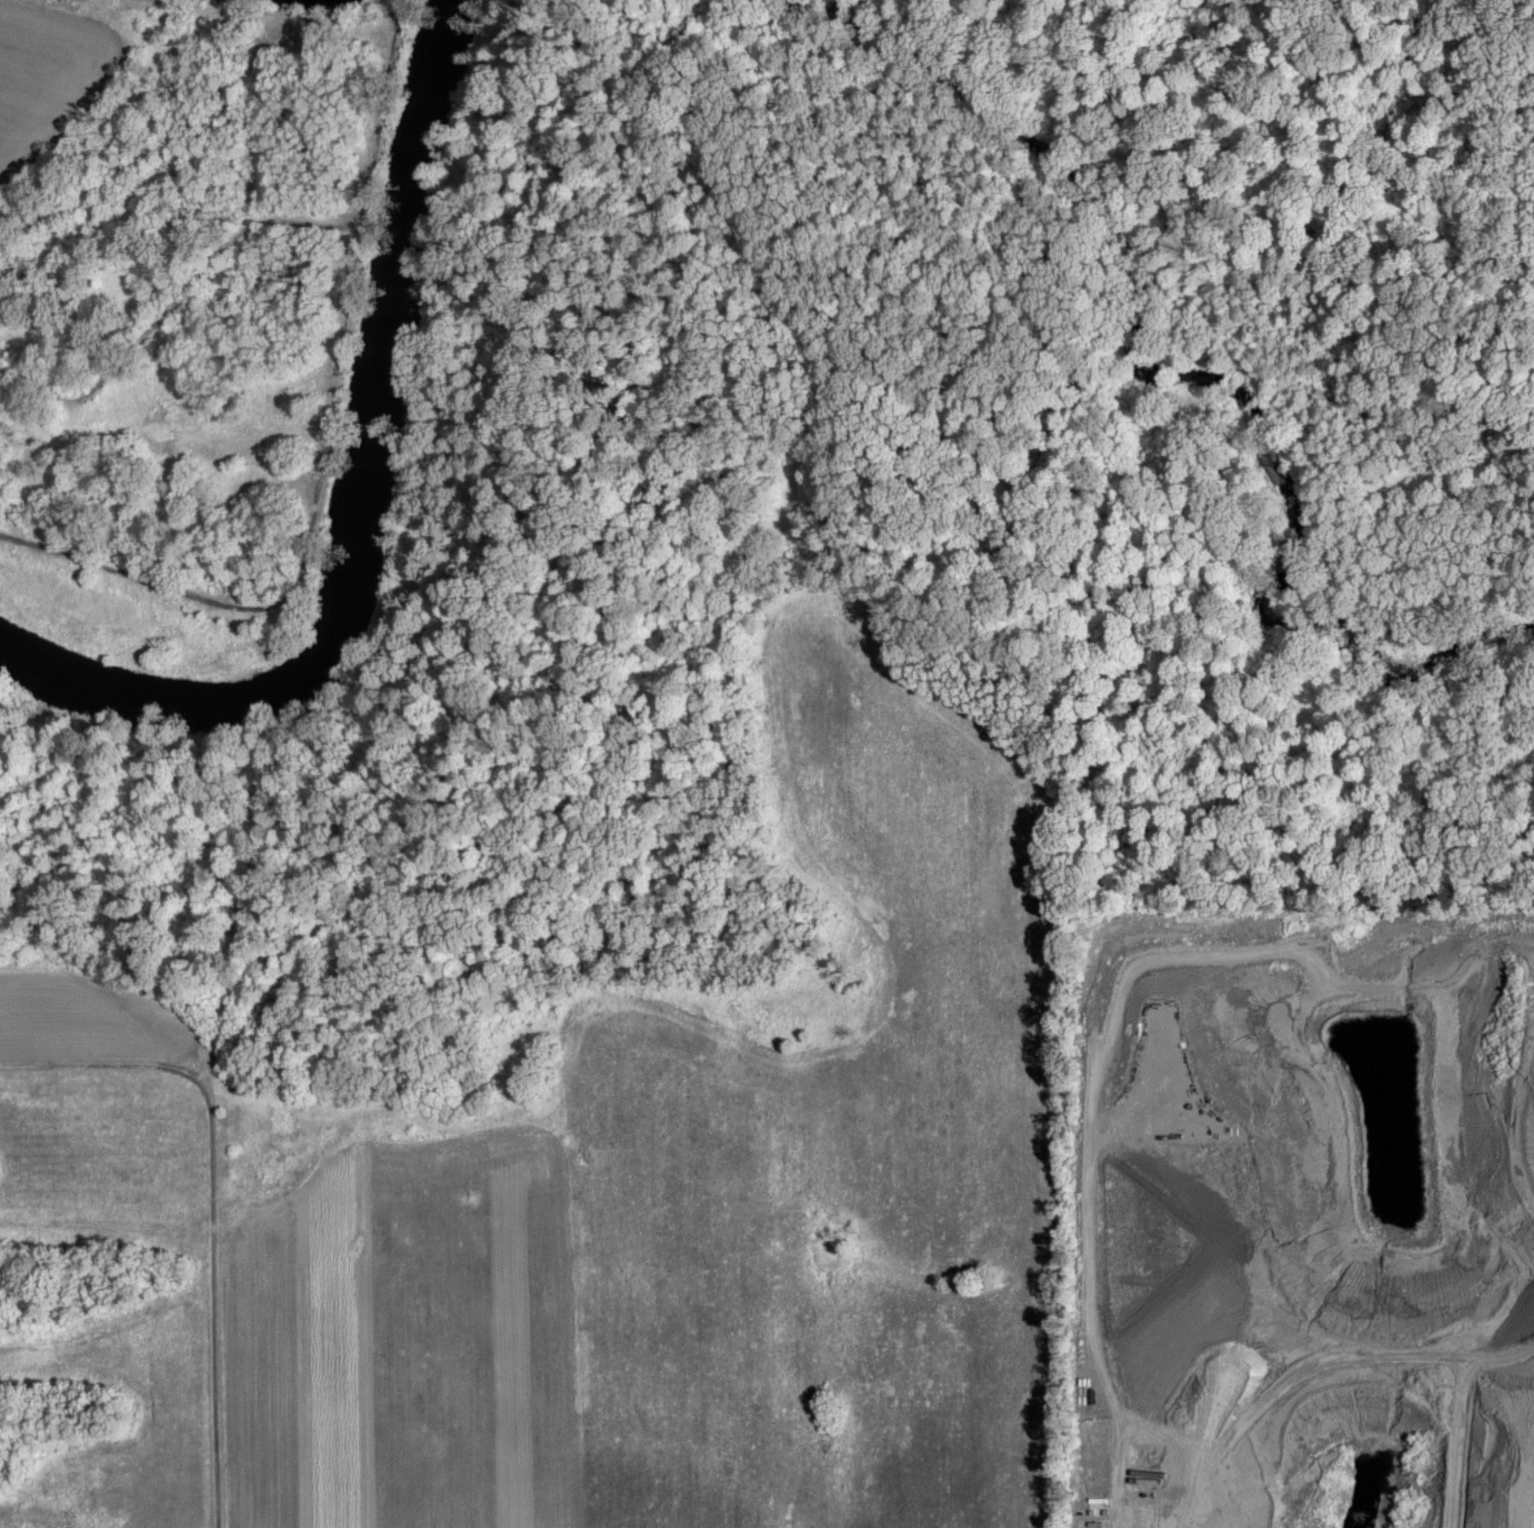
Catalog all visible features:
road: (174, 303)
road: (323, 449)
river: (356, 494)
road: (206, 1318)

